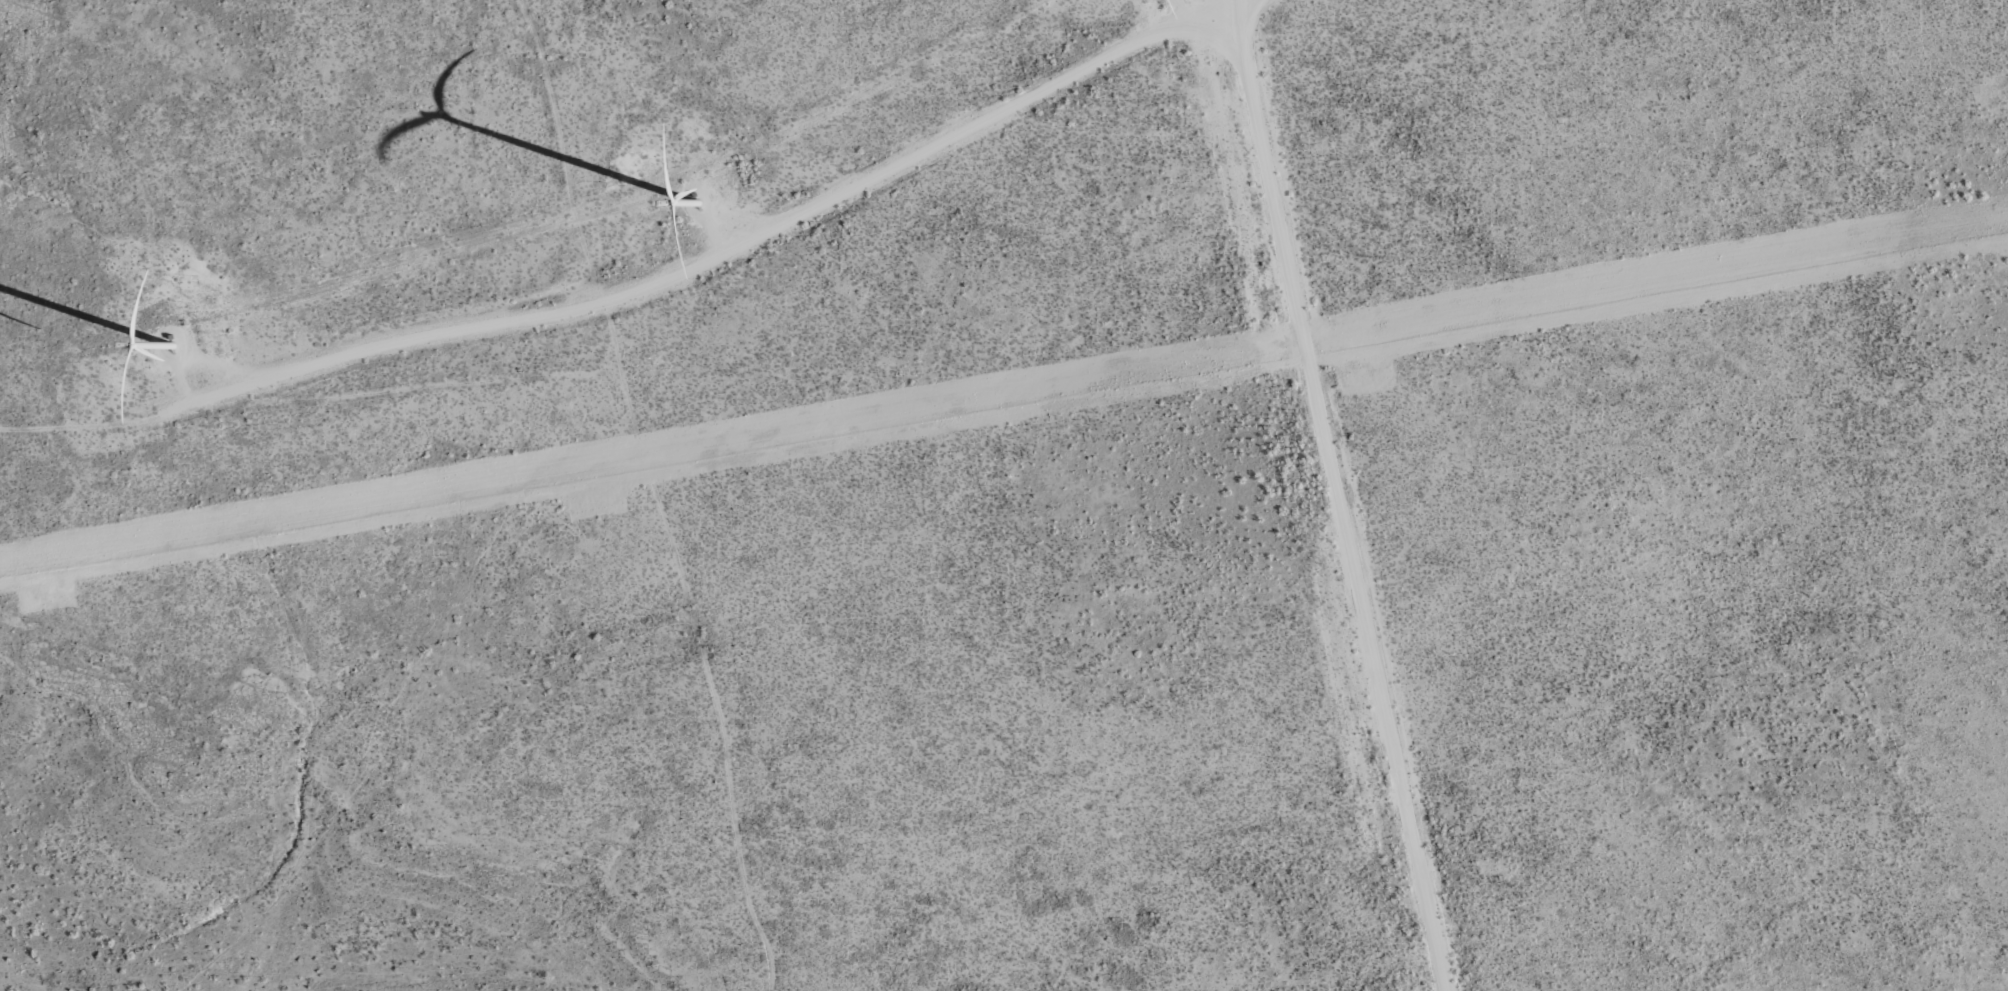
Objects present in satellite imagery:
wind turbine: (671, 201)
wind turbine: (159, 343)
road: (2001, 988)

